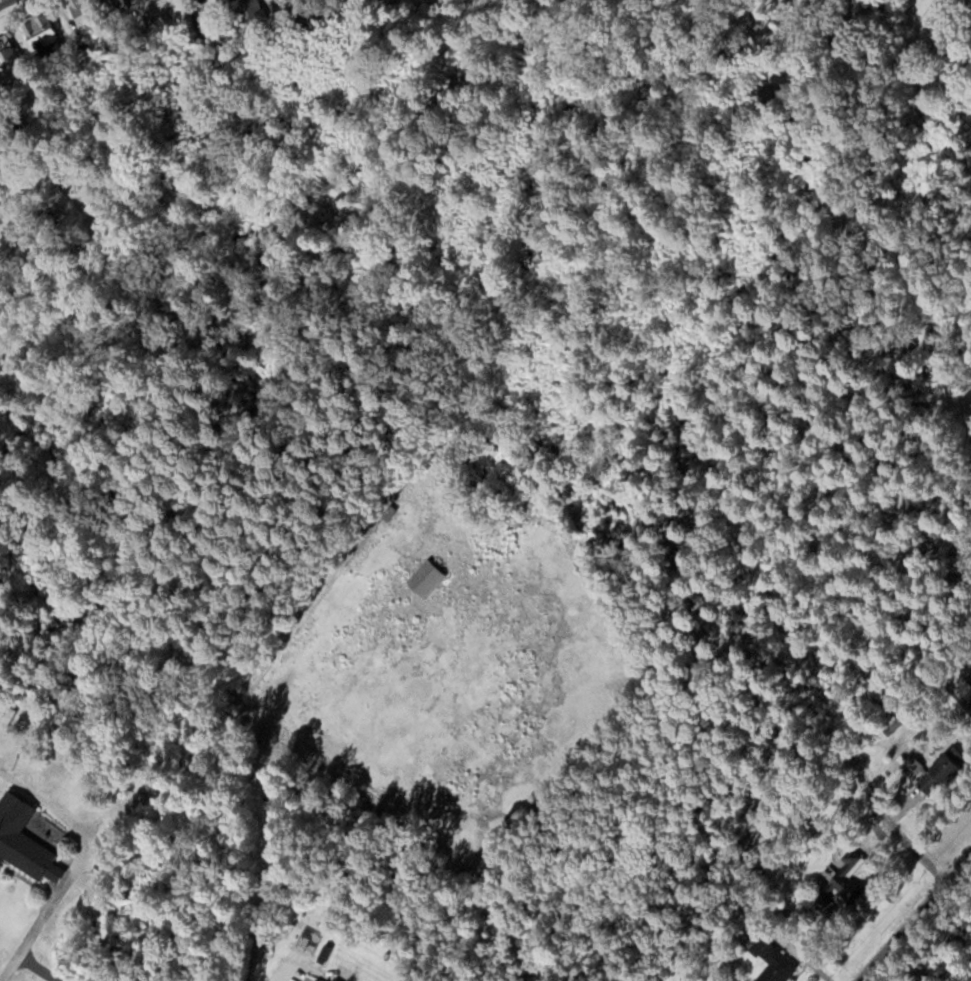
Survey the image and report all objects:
building: (110, 6)
building: (76, 8)
building: (248, 9)
building: (38, 31)
building: (7, 60)
road: (663, 398)
building: (385, 513)
building: (423, 578)
building: (6, 715)
building: (911, 761)
building: (940, 767)
building: (22, 841)
building: (835, 882)
road: (913, 917)
road: (25, 961)
building: (773, 964)
building: (313, 980)
building: (330, 980)

